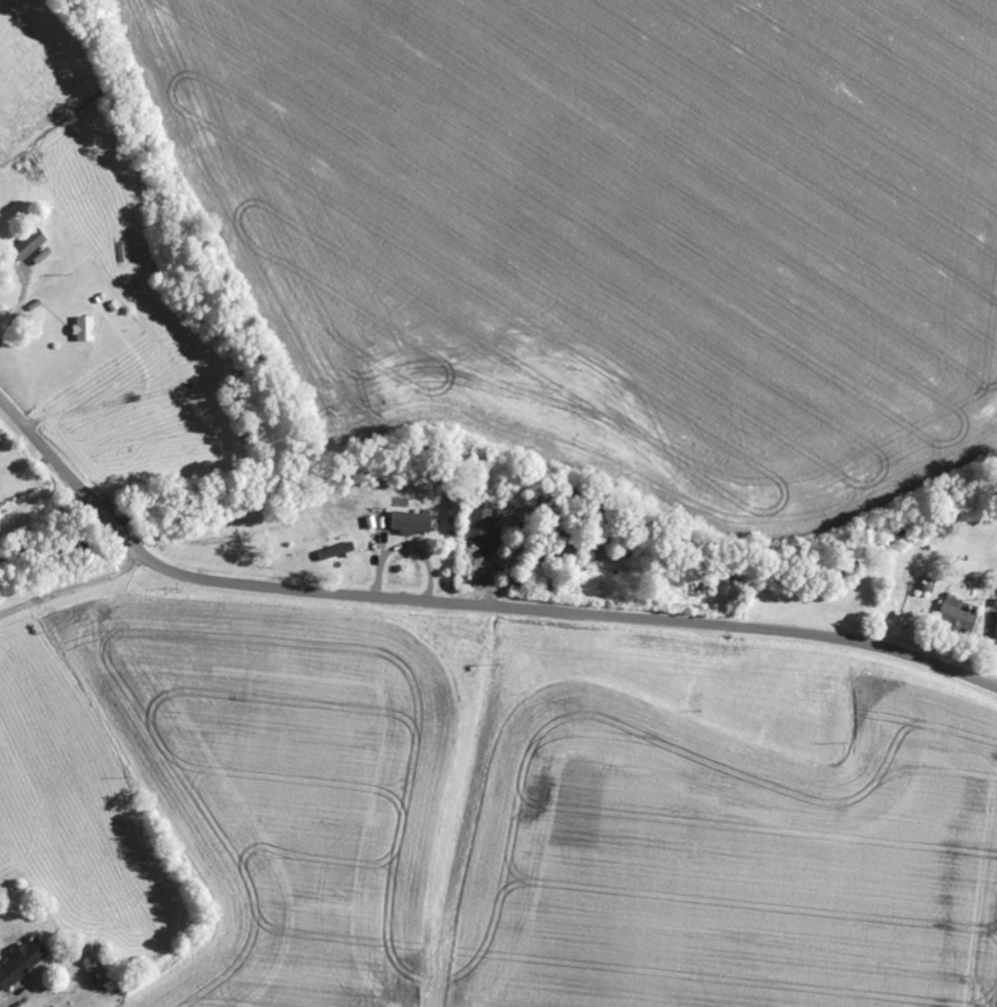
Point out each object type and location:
building: (30, 246)
road: (808, 316)
building: (86, 330)
building: (413, 524)
building: (482, 526)
building: (338, 552)
road: (53, 575)
road: (465, 607)
building: (958, 616)
building: (996, 639)
road: (51, 891)
building: (22, 965)
building: (104, 968)

